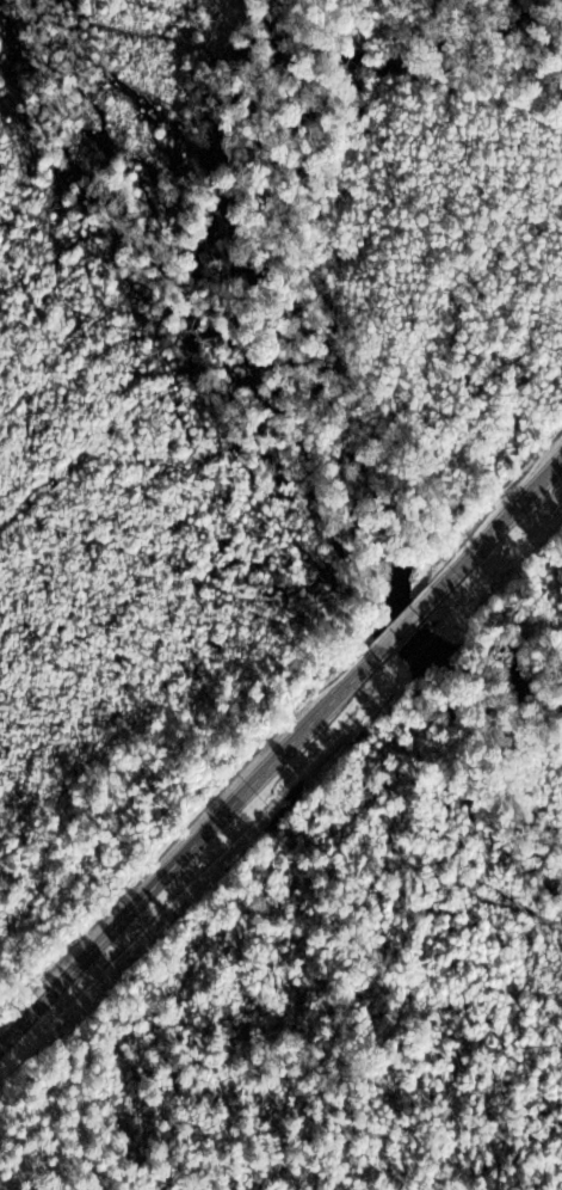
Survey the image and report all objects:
road: (499, 525)
road: (410, 620)
road: (192, 848)

